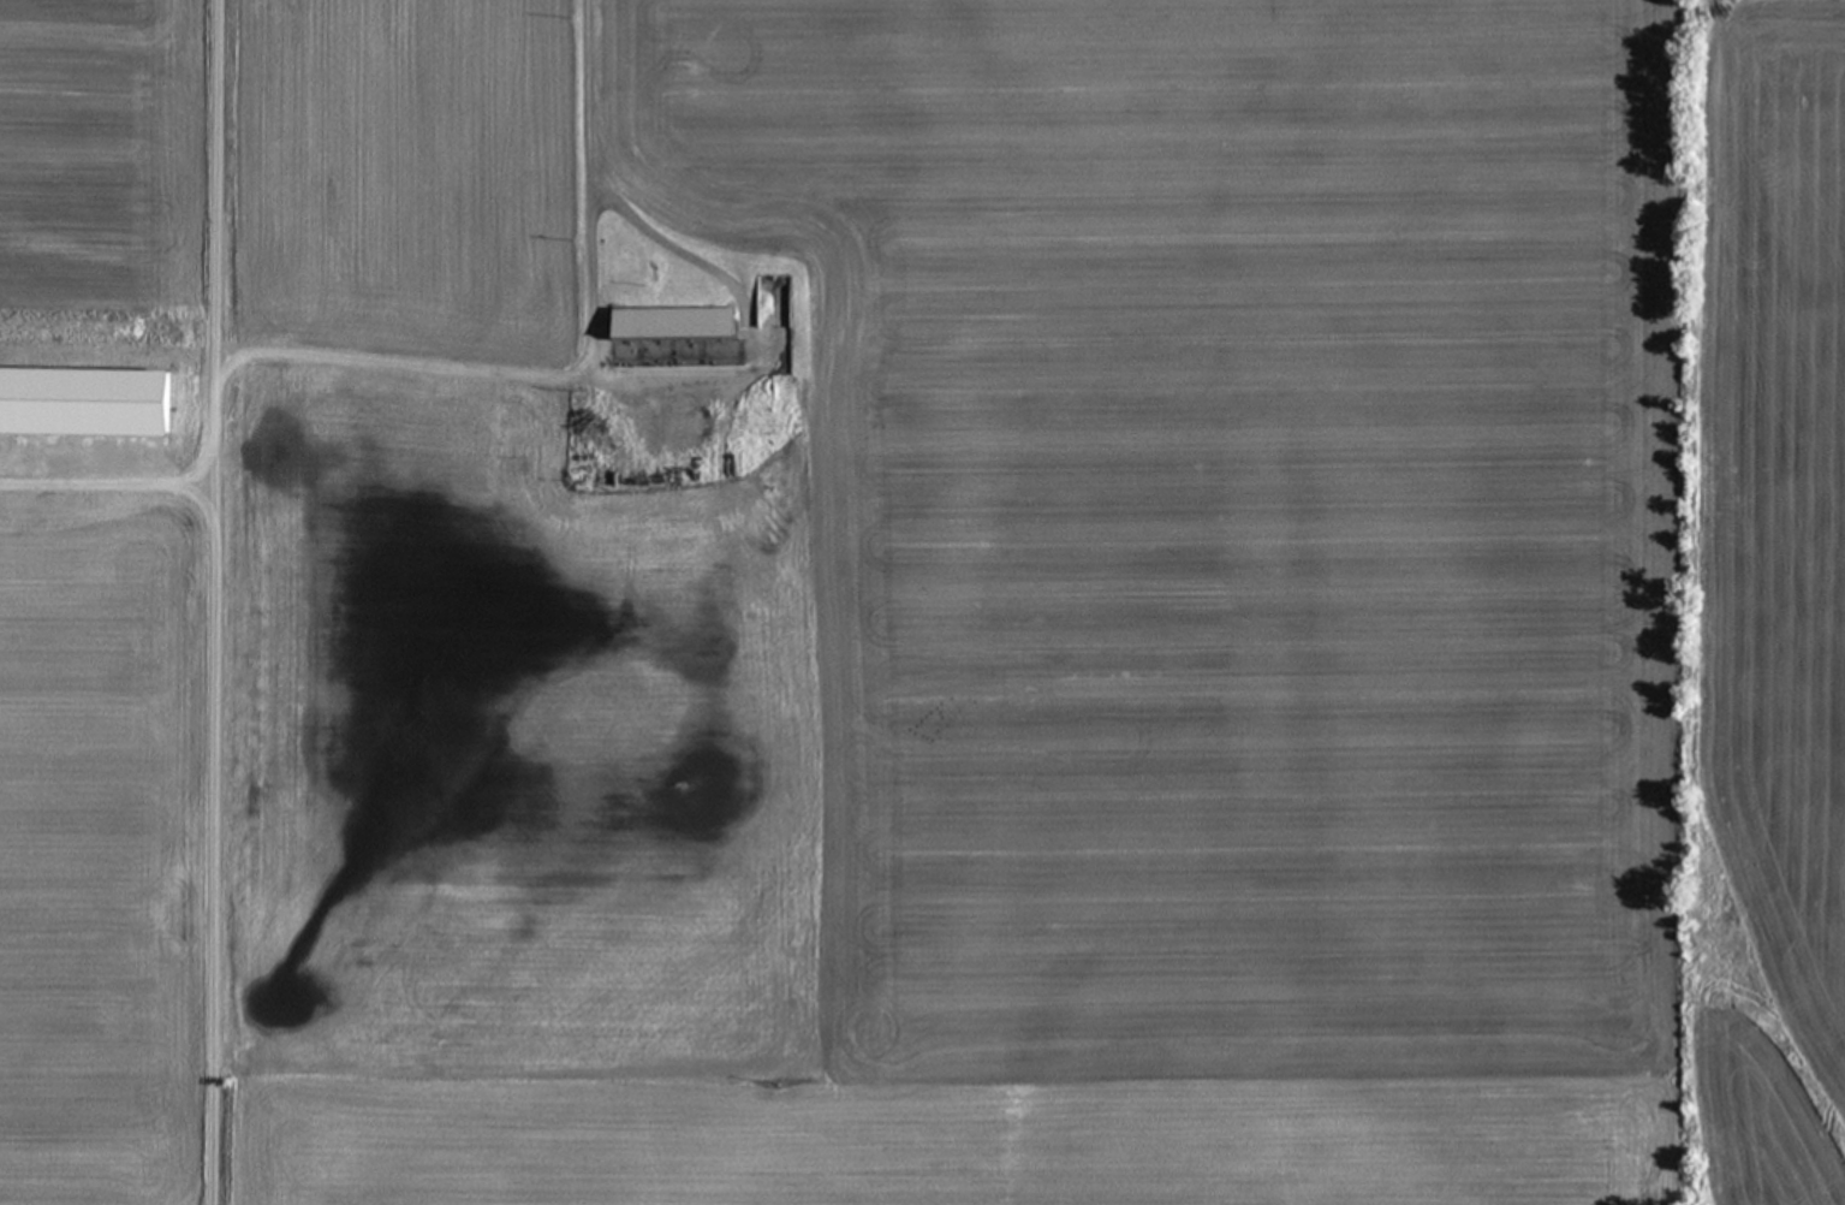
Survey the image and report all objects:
road: (744, 308)
building: (679, 326)
road: (588, 373)
road: (109, 483)
road: (218, 602)

